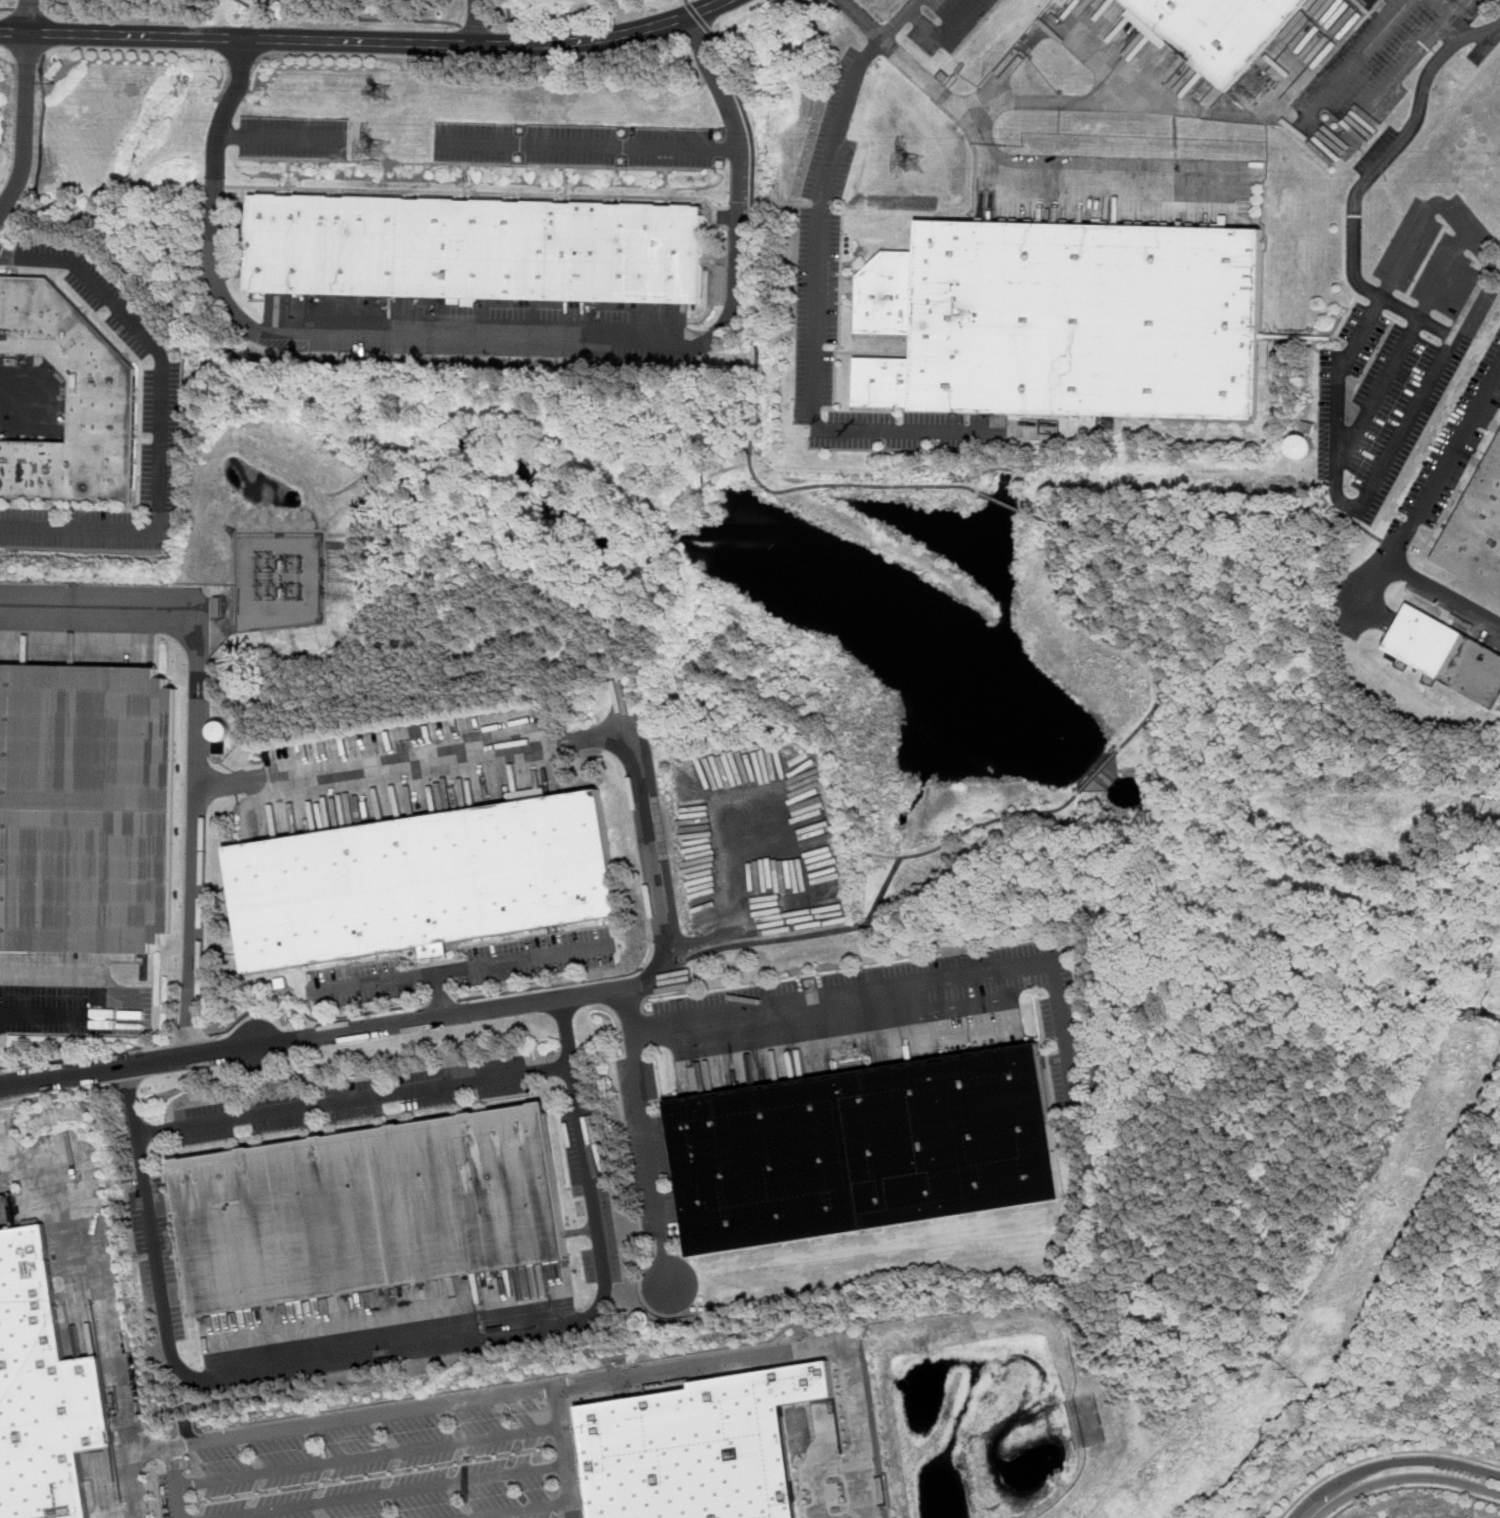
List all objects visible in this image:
parking lot: (536, 0)
road: (684, 2)
building: (1062, 2)
parking lot: (1498, 2)
road: (53, 4)
road: (5, 8)
road: (27, 9)
road: (562, 14)
road: (28, 16)
road: (348, 18)
road: (697, 18)
road: (895, 19)
parking lot: (939, 21)
road: (475, 22)
road: (1058, 24)
road: (473, 26)
building: (1216, 30)
road: (941, 34)
road: (364, 41)
road: (1434, 51)
road: (1355, 57)
parking lot: (1370, 73)
power tower: (53, 81)
road: (1386, 88)
power tower: (379, 95)
road: (1073, 103)
road: (25, 127)
road: (283, 136)
parking lot: (292, 138)
road: (589, 143)
parking lot: (573, 145)
road: (1393, 149)
power tower: (374, 154)
road: (739, 160)
power tower: (911, 171)
road: (1087, 176)
road: (586, 195)
road: (785, 206)
road: (1393, 206)
building: (477, 248)
parking lot: (819, 263)
road: (817, 296)
building: (1072, 317)
road: (1417, 319)
road: (346, 335)
road: (1402, 347)
parking lot: (1402, 351)
road: (19, 399)
building: (69, 401)
parking lot: (161, 401)
road: (1418, 408)
road: (162, 422)
building: (1302, 448)
road: (788, 490)
parking lot: (1422, 498)
road: (1009, 502)
road: (1233, 511)
road: (1416, 518)
building: (1477, 531)
road: (1098, 556)
power substation: (281, 582)
road: (1370, 596)
road: (1097, 635)
building: (1447, 653)
road: (196, 732)
road: (415, 759)
road: (1098, 772)
building: (87, 808)
parking lot: (759, 841)
road: (877, 855)
building: (422, 881)
road: (886, 886)
road: (682, 941)
road: (502, 962)
road: (663, 963)
parking lot: (467, 967)
road: (372, 982)
road: (548, 986)
road: (604, 991)
road: (907, 995)
parking lot: (68, 997)
road: (440, 1003)
road: (73, 1010)
road: (310, 1017)
parking lot: (874, 1020)
road: (189, 1038)
road: (86, 1056)
road: (130, 1067)
road: (1, 1068)
road: (123, 1087)
road: (66, 1094)
road: (355, 1099)
parking lot: (353, 1100)
road: (10, 1104)
road: (3, 1131)
road: (647, 1134)
parking lot: (646, 1146)
building: (864, 1150)
parking lot: (592, 1194)
power tower: (1390, 1200)
building: (375, 1209)
road: (96, 1269)
road: (398, 1341)
power tower: (1294, 1377)
building: (40, 1391)
road: (486, 1400)
road: (858, 1443)
building: (696, 1447)
road: (561, 1454)
road: (1382, 1456)
road: (366, 1457)
parking lot: (386, 1462)
road: (1392, 1463)
road: (813, 1467)
road: (1405, 1477)
road: (174, 1483)
road: (1413, 1486)
road: (134, 1487)
road: (394, 1491)
road: (519, 1510)

